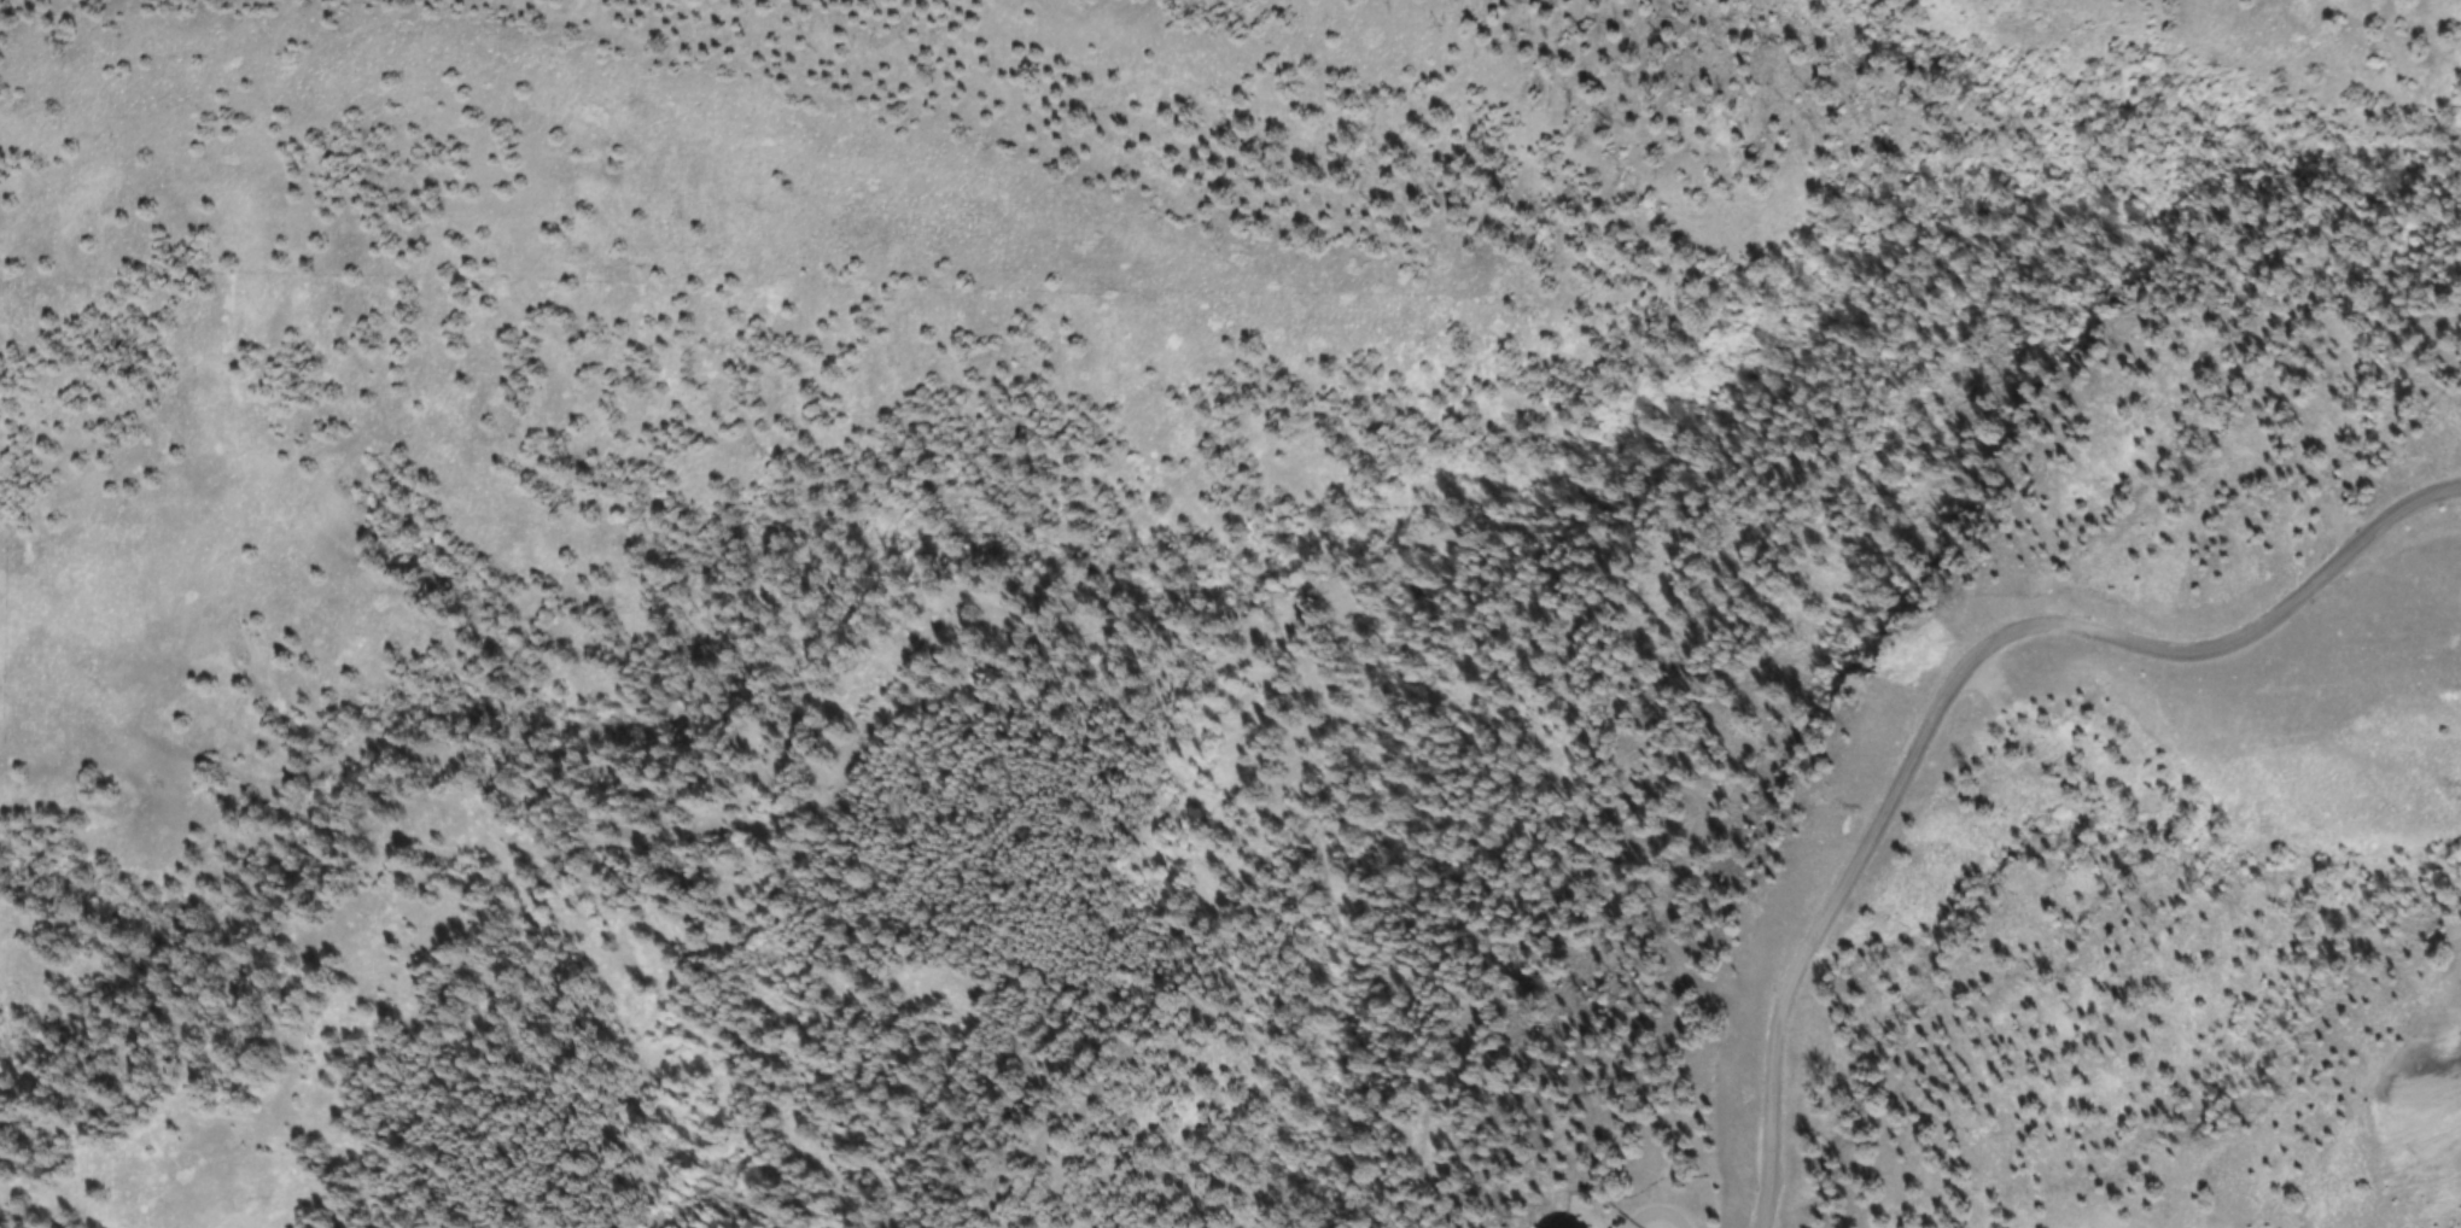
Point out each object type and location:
road: (1952, 688)
building: (1584, 1220)

